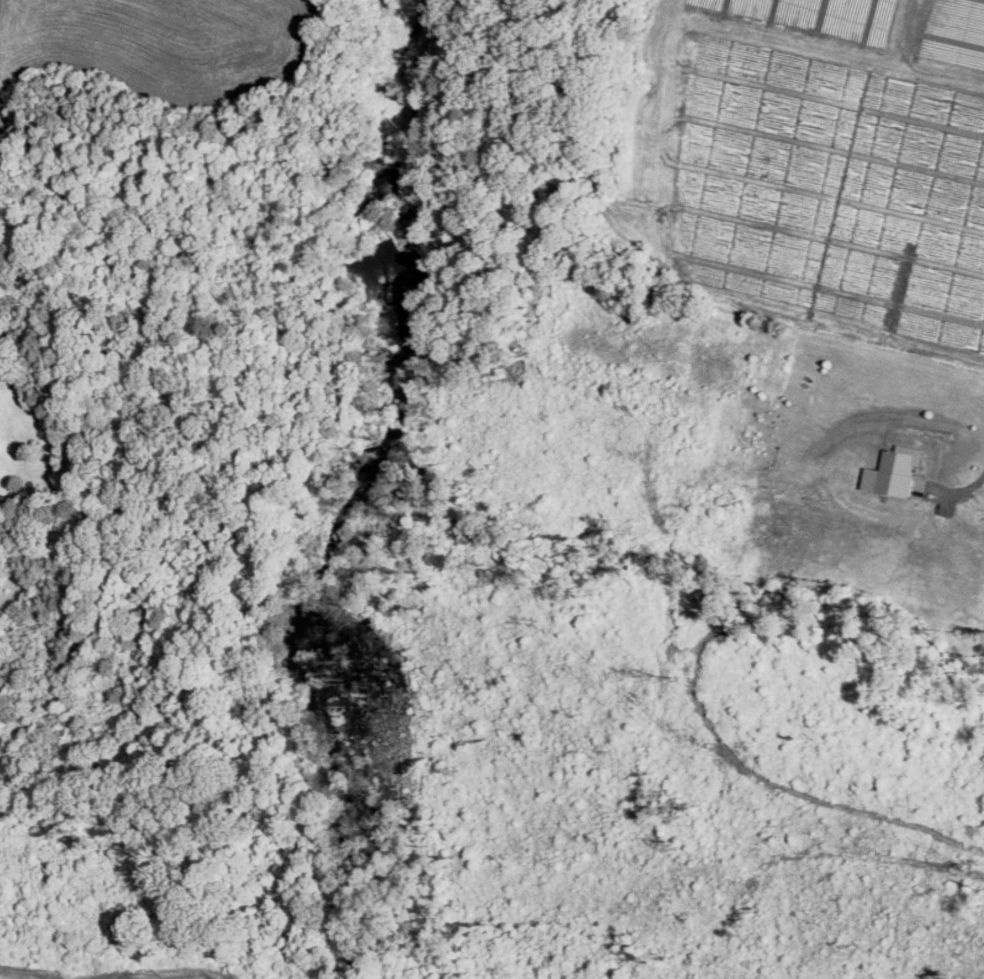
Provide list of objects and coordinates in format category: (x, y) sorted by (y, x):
building: (896, 470)

